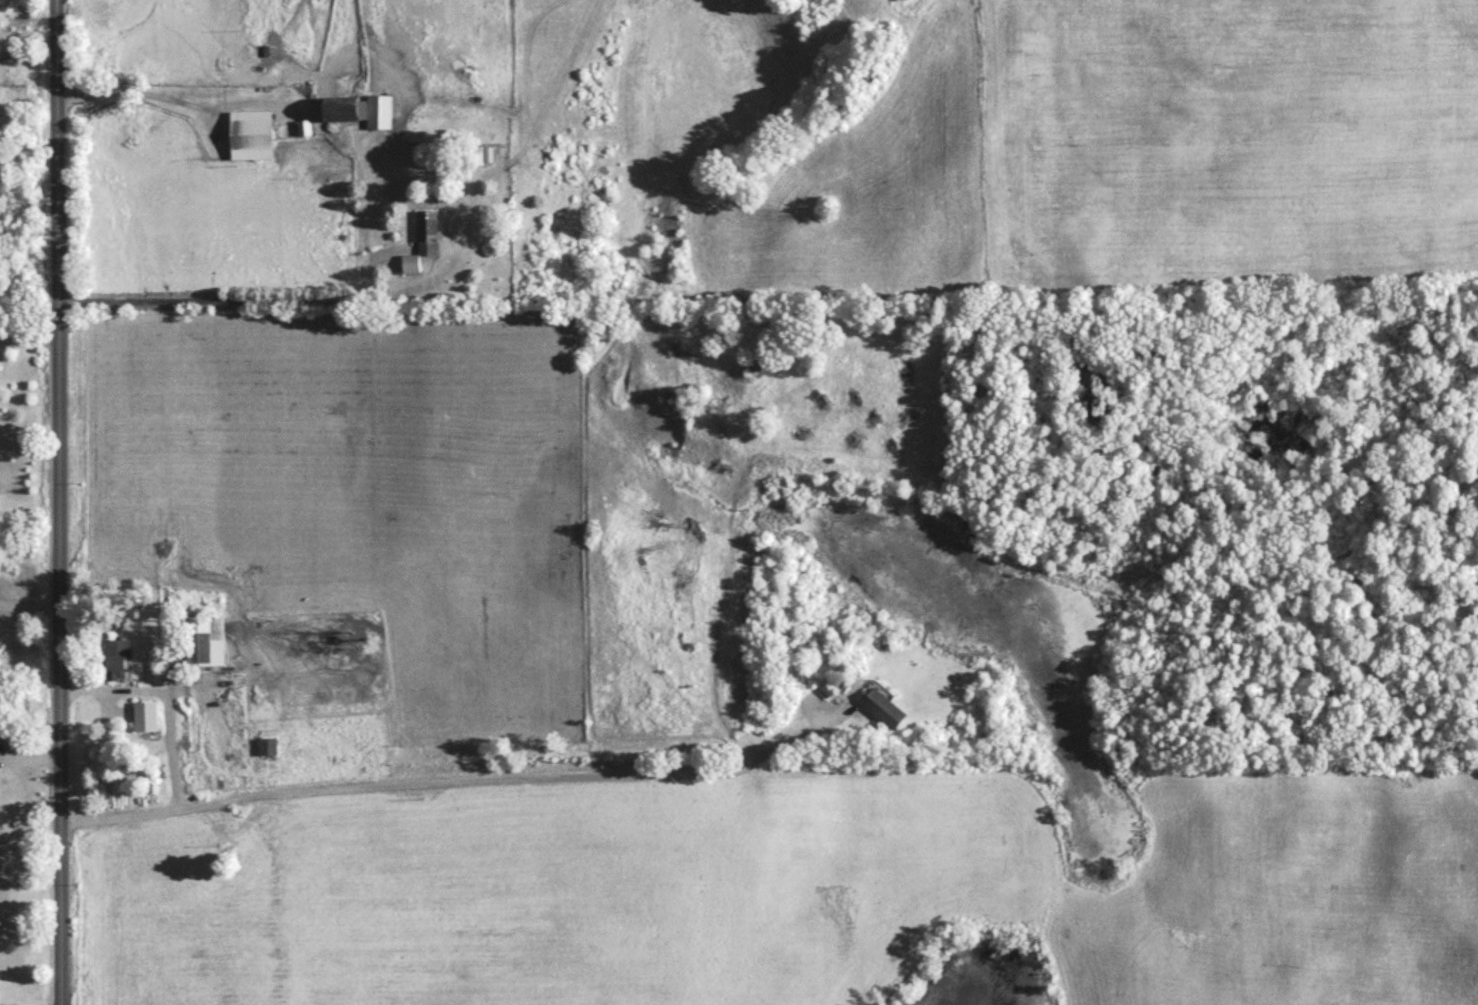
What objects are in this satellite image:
road: (114, 29)
road: (169, 102)
building: (356, 116)
building: (249, 140)
building: (482, 160)
building: (424, 244)
road: (229, 296)
road: (59, 502)
building: (203, 645)
building: (116, 665)
road: (161, 704)
building: (882, 714)
building: (144, 722)
building: (267, 752)
road: (459, 785)

